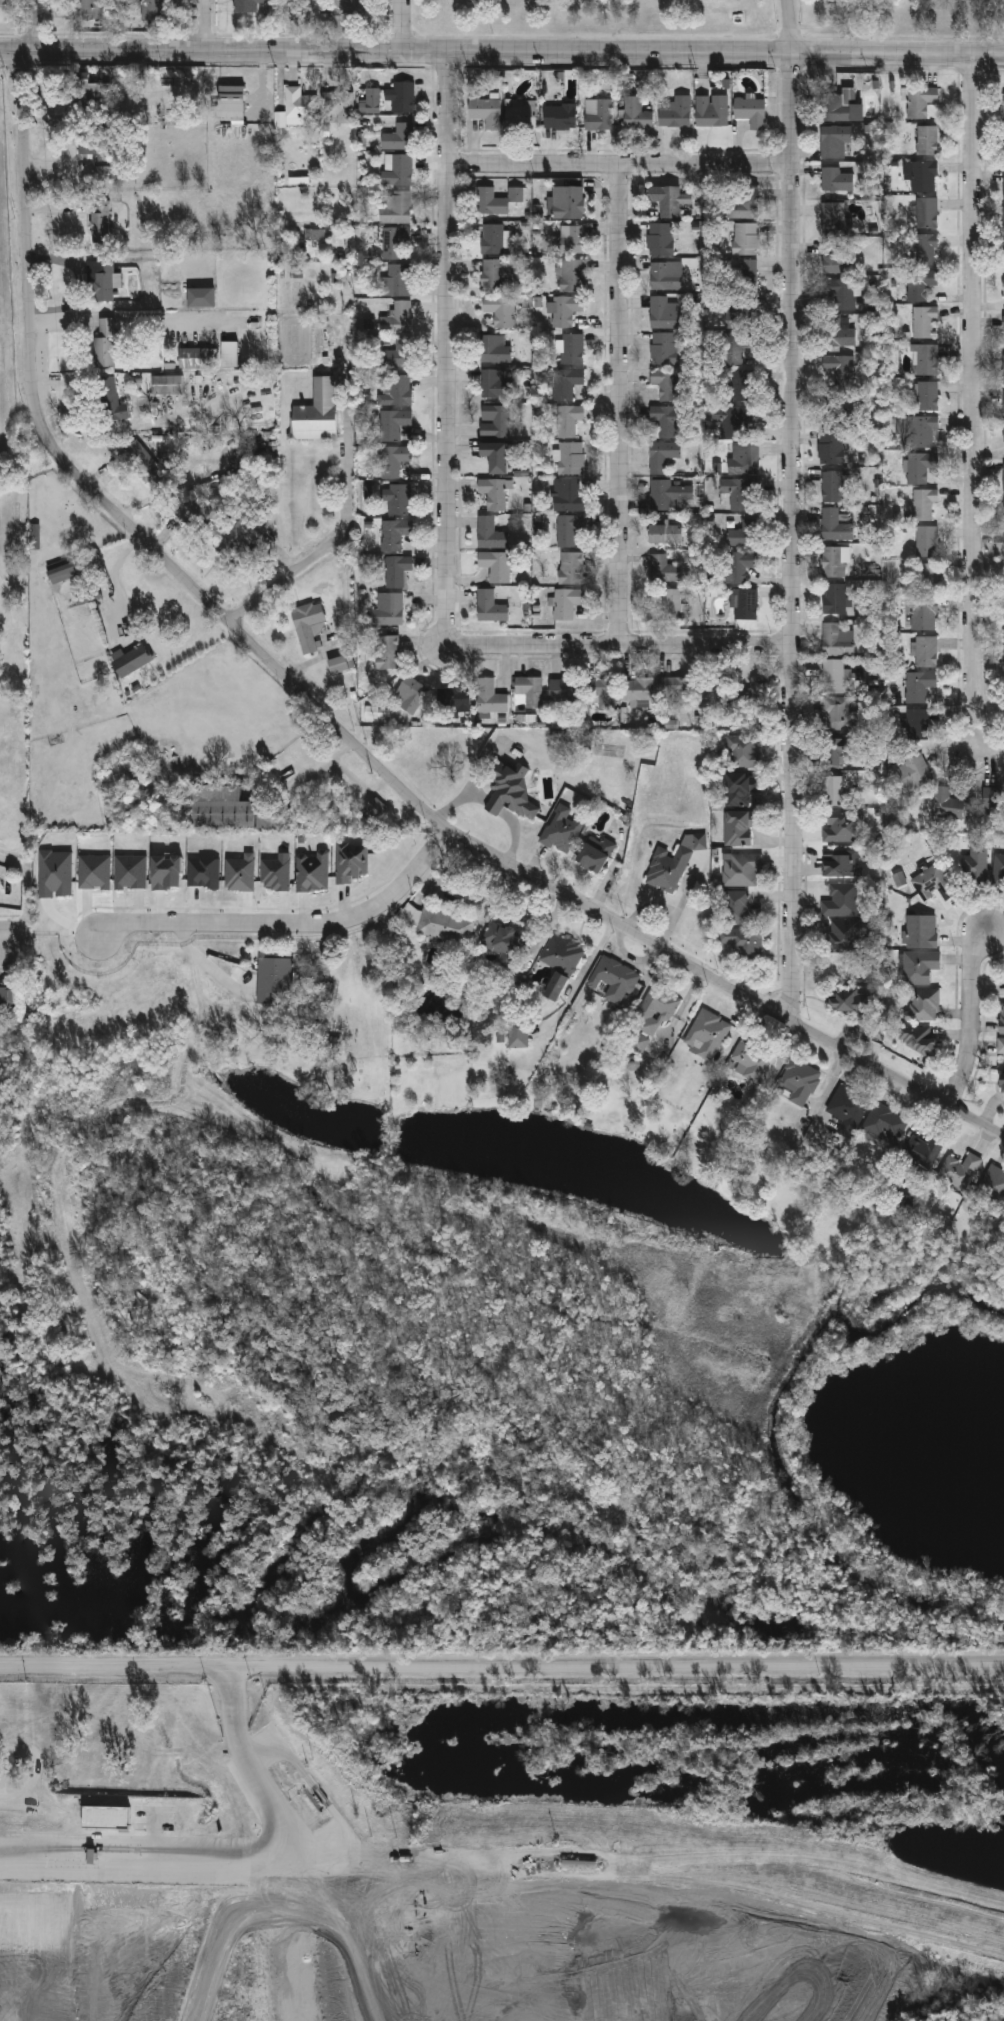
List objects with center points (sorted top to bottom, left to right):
building: (246, 4)
building: (349, 7)
building: (86, 8)
building: (151, 9)
park: (712, 19)
road: (26, 24)
road: (202, 25)
road: (402, 25)
road: (789, 26)
road: (501, 52)
building: (87, 89)
building: (401, 95)
building: (369, 99)
building: (1003, 99)
building: (228, 100)
building: (919, 100)
building: (292, 103)
building: (338, 104)
building: (840, 105)
building: (710, 109)
building: (749, 109)
building: (484, 110)
building: (675, 111)
building: (635, 112)
building: (520, 113)
building: (599, 114)
building: (558, 115)
building: (395, 134)
building: (925, 139)
building: (833, 140)
building: (1003, 146)
road: (620, 162)
building: (397, 167)
building: (922, 175)
building: (834, 178)
building: (1003, 183)
building: (517, 193)
building: (669, 199)
building: (489, 200)
building: (567, 201)
building: (394, 205)
building: (741, 205)
building: (925, 211)
building: (833, 217)
building: (1003, 219)
building: (99, 220)
building: (745, 236)
building: (491, 237)
building: (568, 237)
building: (659, 237)
building: (393, 240)
building: (921, 248)
building: (834, 254)
building: (1003, 256)
building: (494, 273)
building: (665, 273)
building: (741, 273)
building: (571, 274)
building: (398, 278)
building: (99, 279)
building: (918, 282)
building: (1003, 285)
building: (838, 292)
building: (199, 295)
building: (499, 308)
building: (564, 308)
building: (740, 310)
building: (663, 311)
road: (108, 313)
building: (396, 317)
building: (922, 320)
building: (1003, 321)
building: (836, 333)
road: (448, 335)
building: (103, 343)
building: (663, 347)
building: (492, 348)
building: (570, 348)
building: (228, 352)
building: (396, 353)
building: (195, 355)
building: (925, 358)
building: (839, 368)
building: (1003, 368)
building: (564, 381)
building: (664, 381)
building: (736, 382)
building: (166, 383)
building: (495, 383)
building: (393, 388)
road: (973, 389)
building: (926, 394)
building: (109, 399)
road: (619, 402)
building: (1003, 404)
building: (835, 410)
building: (315, 411)
building: (567, 419)
building: (664, 419)
building: (494, 420)
building: (392, 423)
building: (920, 429)
building: (1003, 433)
building: (830, 446)
building: (495, 454)
building: (661, 454)
building: (569, 457)
building: (742, 457)
building: (392, 459)
building: (141, 462)
building: (918, 465)
building: (1003, 478)
building: (832, 485)
building: (492, 492)
building: (739, 492)
building: (666, 493)
building: (566, 494)
building: (396, 497)
building: (923, 503)
building: (197, 512)
building: (833, 525)
building: (566, 529)
building: (394, 532)
building: (664, 532)
building: (490, 533)
building: (744, 533)
road: (793, 536)
building: (925, 540)
building: (241, 541)
building: (833, 561)
building: (494, 564)
building: (737, 564)
building: (569, 567)
building: (662, 568)
building: (62, 569)
building: (395, 570)
building: (927, 576)
road: (288, 577)
road: (117, 582)
building: (1003, 589)
building: (834, 597)
building: (566, 601)
building: (670, 603)
building: (745, 603)
building: (489, 606)
building: (388, 610)
building: (920, 613)
building: (306, 623)
building: (1003, 626)
building: (834, 640)
road: (613, 643)
building: (925, 650)
building: (385, 651)
building: (130, 660)
building: (337, 664)
building: (833, 675)
building: (918, 684)
building: (637, 688)
building: (676, 688)
building: (529, 689)
building: (564, 691)
building: (601, 691)
building: (756, 691)
building: (411, 694)
building: (1003, 694)
building: (719, 695)
building: (490, 696)
building: (453, 699)
building: (835, 712)
road: (331, 719)
building: (916, 723)
road: (982, 744)
building: (743, 750)
building: (833, 751)
building: (913, 771)
road: (316, 772)
building: (508, 787)
building: (740, 787)
building: (833, 789)
building: (993, 797)
road: (458, 801)
building: (948, 803)
building: (218, 805)
road: (492, 806)
building: (375, 807)
building: (739, 826)
building: (560, 828)
building: (841, 828)
road: (513, 833)
building: (593, 854)
building: (350, 860)
building: (670, 862)
building: (838, 865)
building: (973, 866)
building: (740, 868)
building: (998, 868)
building: (311, 870)
building: (932, 882)
road: (27, 895)
building: (840, 899)
building: (738, 908)
road: (288, 921)
building: (444, 925)
building: (921, 930)
building: (841, 935)
road: (2, 939)
building: (740, 939)
building: (501, 943)
building: (559, 959)
road: (207, 962)
building: (918, 966)
building: (612, 978)
building: (273, 980)
road: (25, 995)
building: (7, 999)
building: (849, 1001)
building: (920, 1003)
building: (653, 1009)
road: (970, 1015)
building: (1001, 1018)
building: (705, 1033)
building: (516, 1034)
building: (914, 1036)
building: (638, 1041)
building: (1000, 1045)
building: (749, 1058)
building: (798, 1080)
building: (1001, 1083)
building: (846, 1109)
building: (883, 1123)
building: (919, 1152)
building: (958, 1169)
building: (992, 1185)
road: (502, 1665)
road: (237, 1863)
building: (580, 1866)
landfill: (406, 1927)

